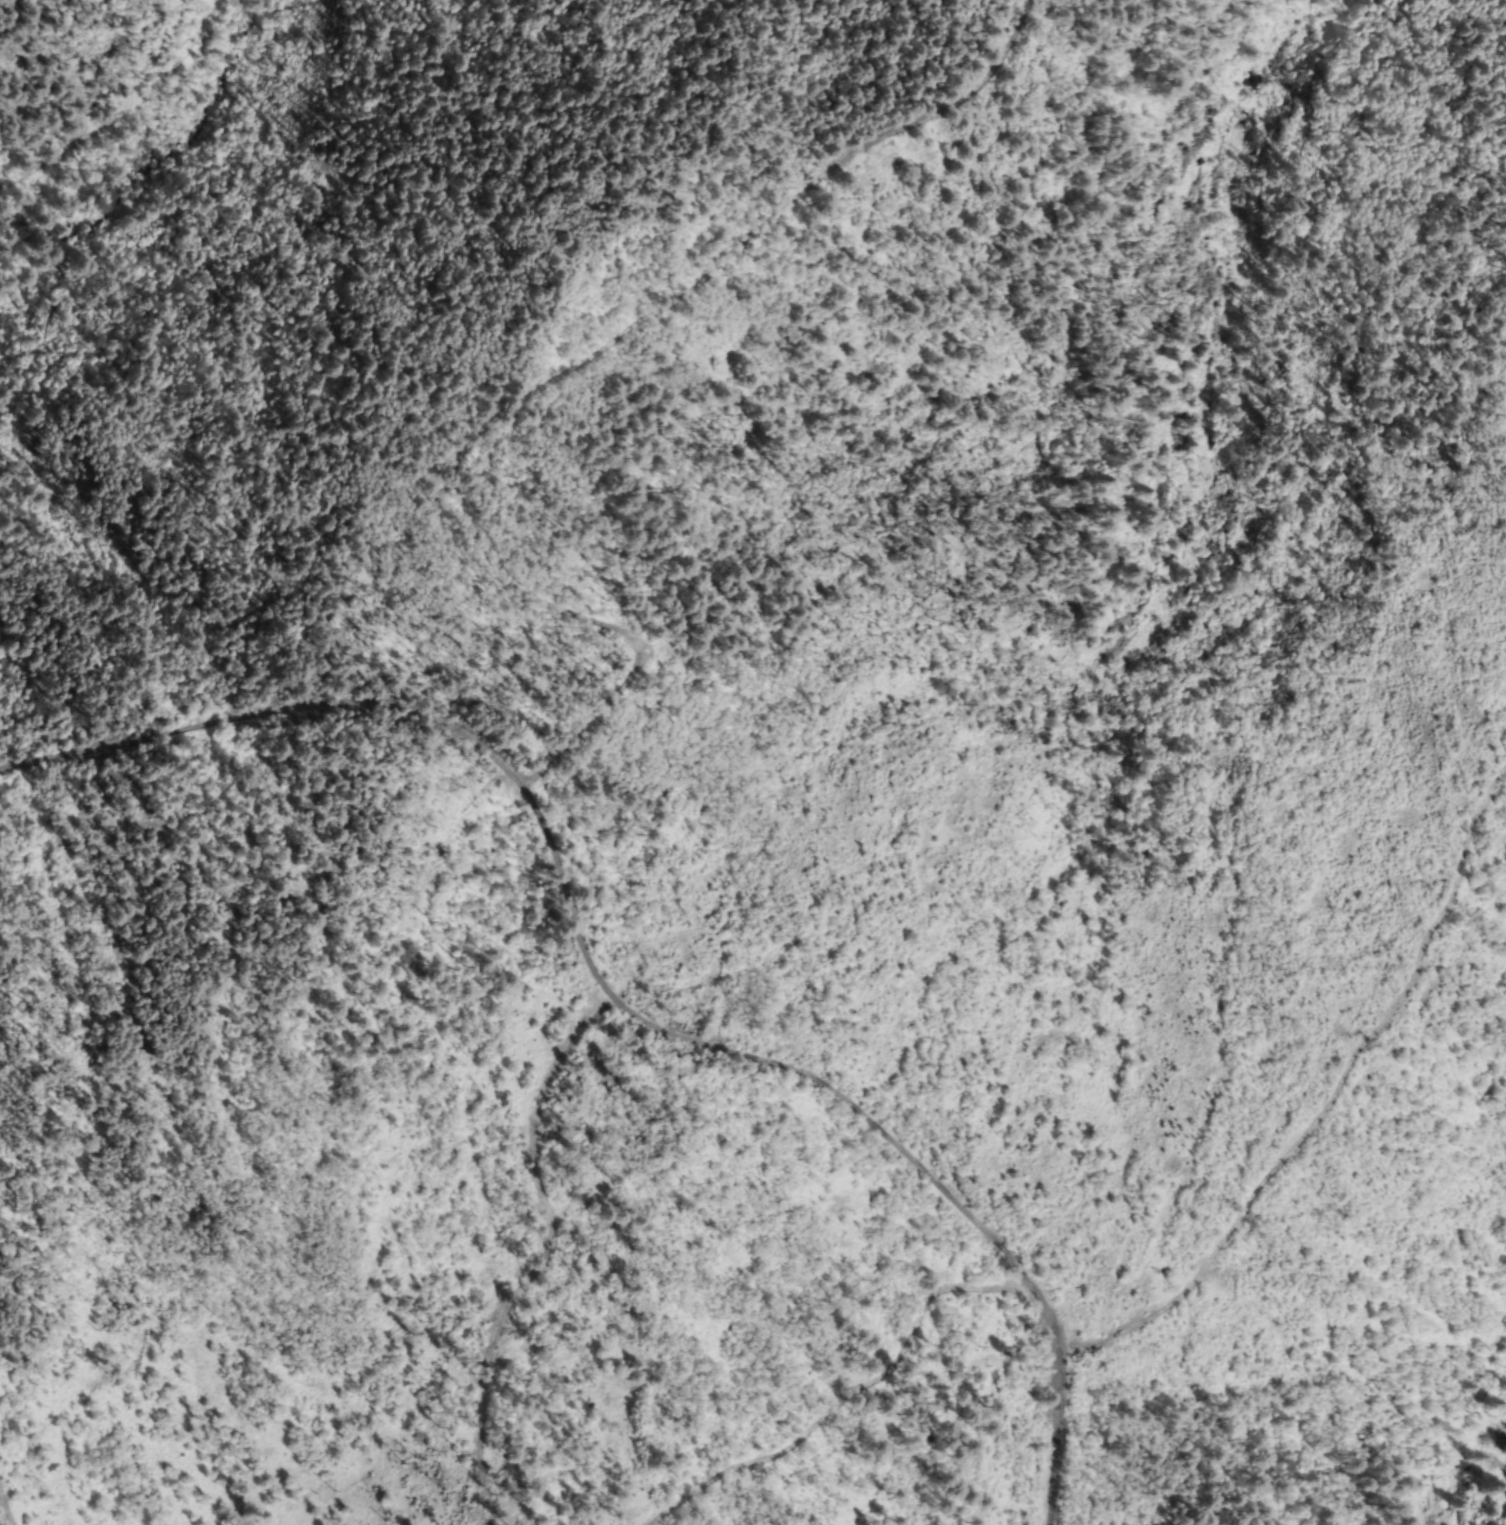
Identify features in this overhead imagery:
road: (603, 991)

